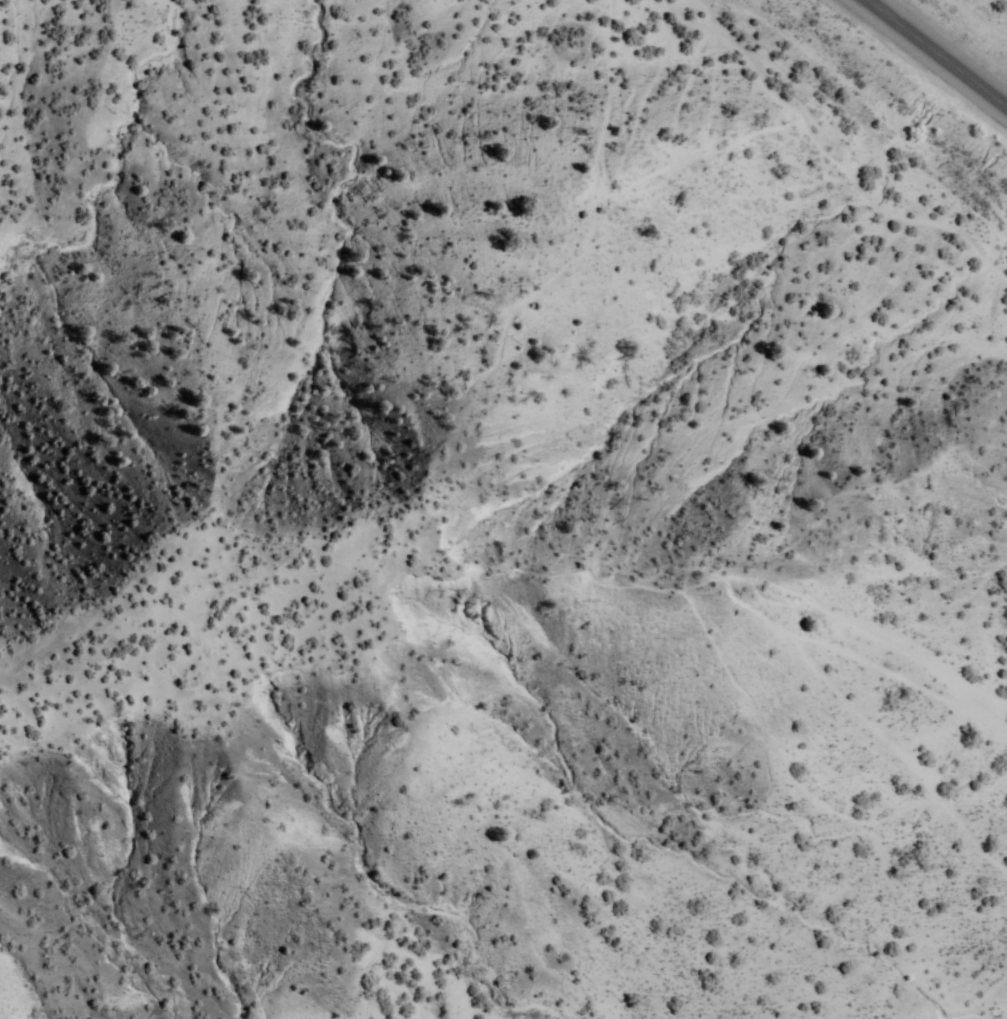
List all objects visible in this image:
road: (936, 53)
road: (824, 143)
road: (969, 1003)

